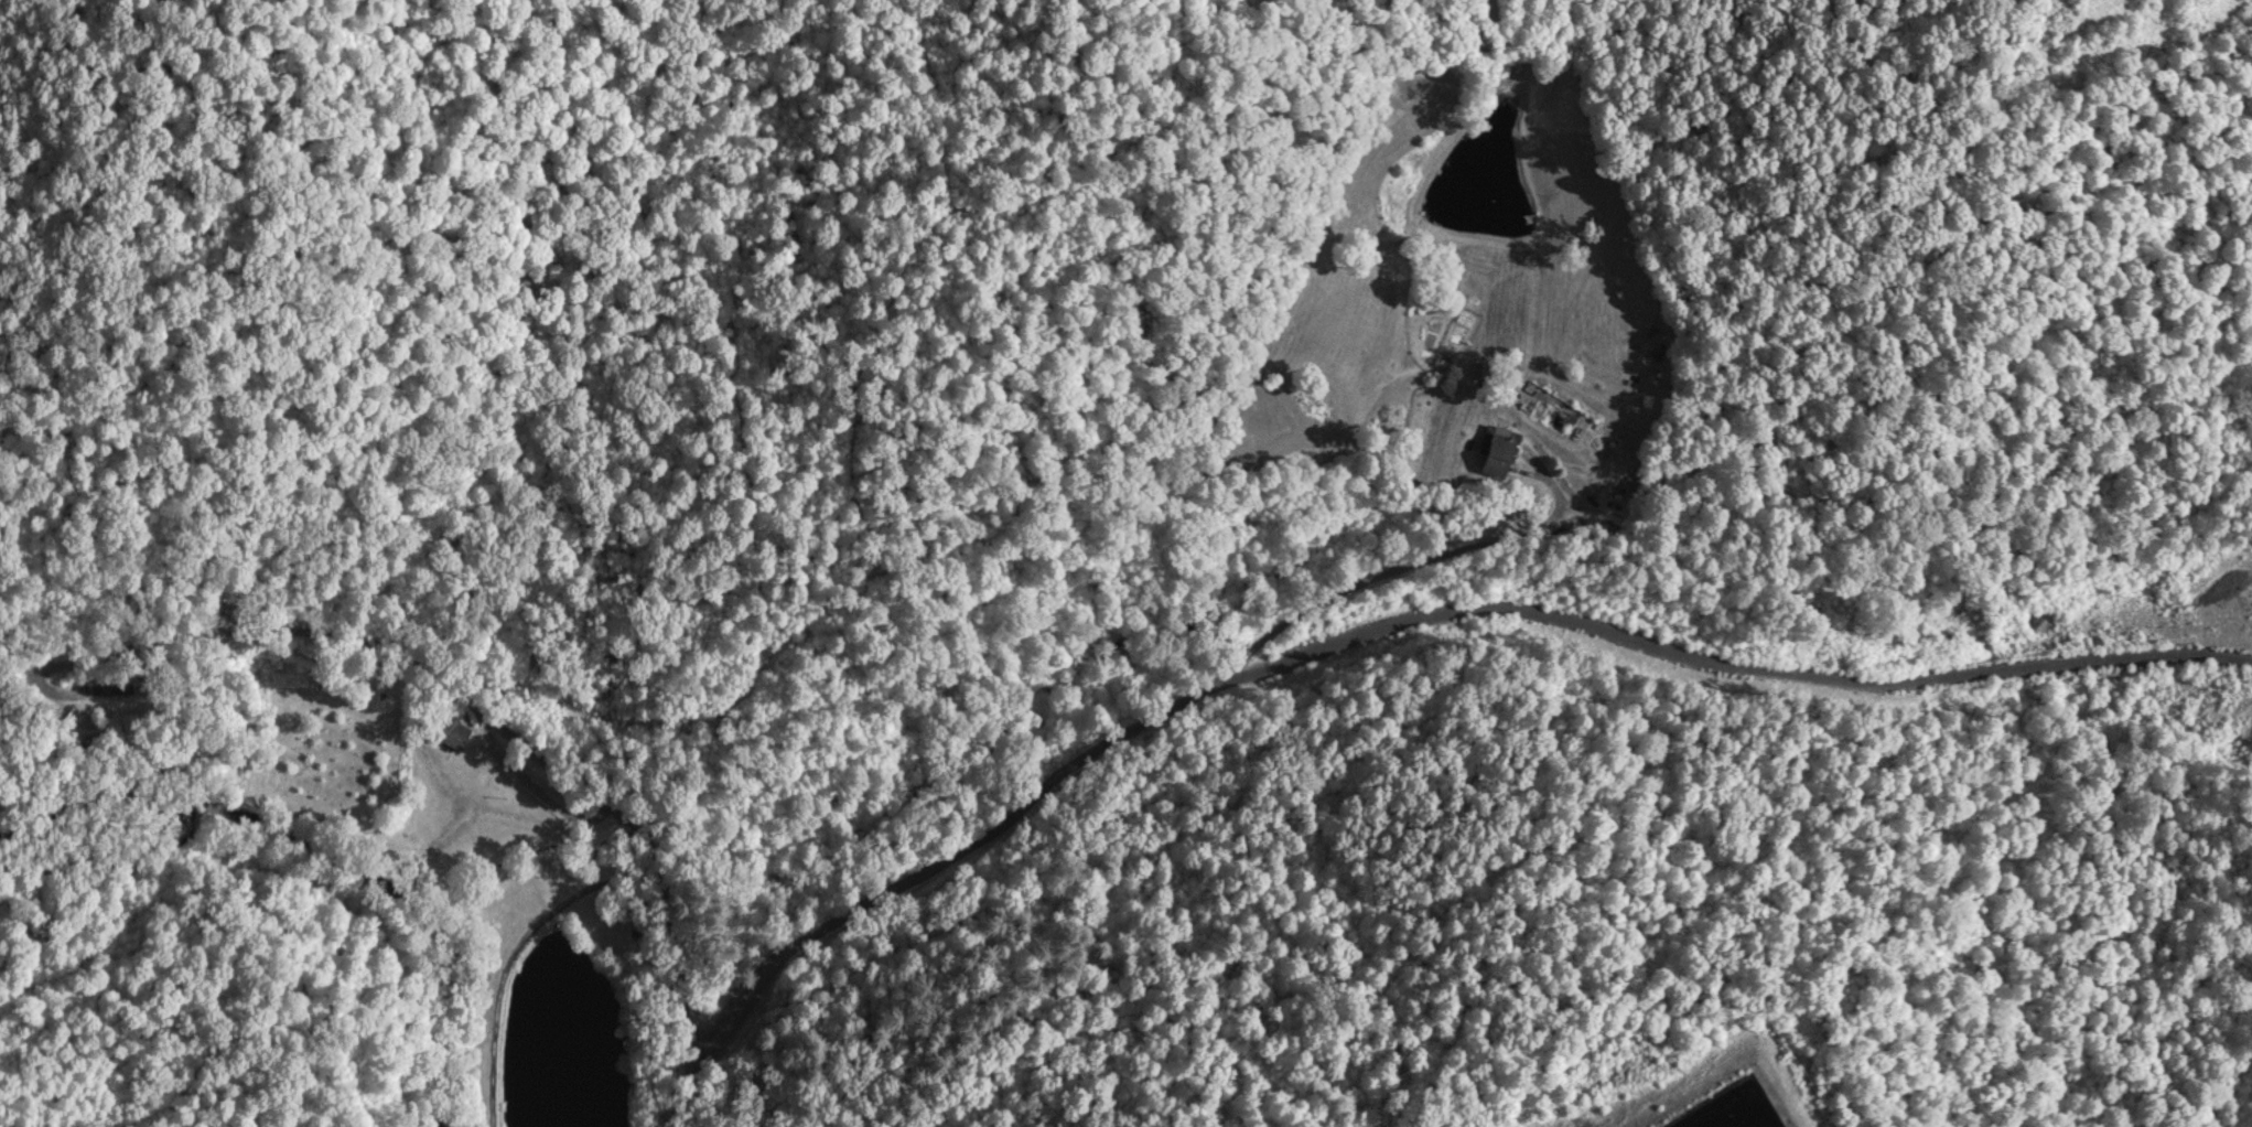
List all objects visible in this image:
building: (1498, 457)
road: (492, 694)
building: (453, 736)

